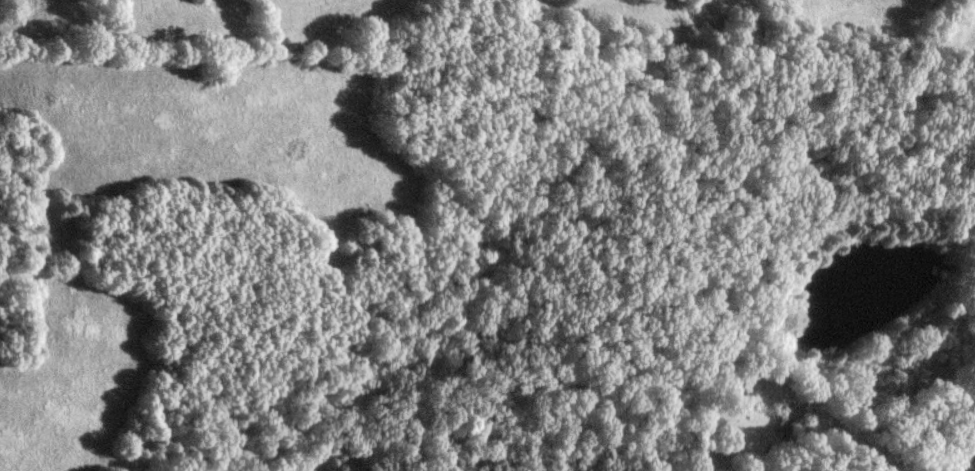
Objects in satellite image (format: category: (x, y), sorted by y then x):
road: (965, 461)

